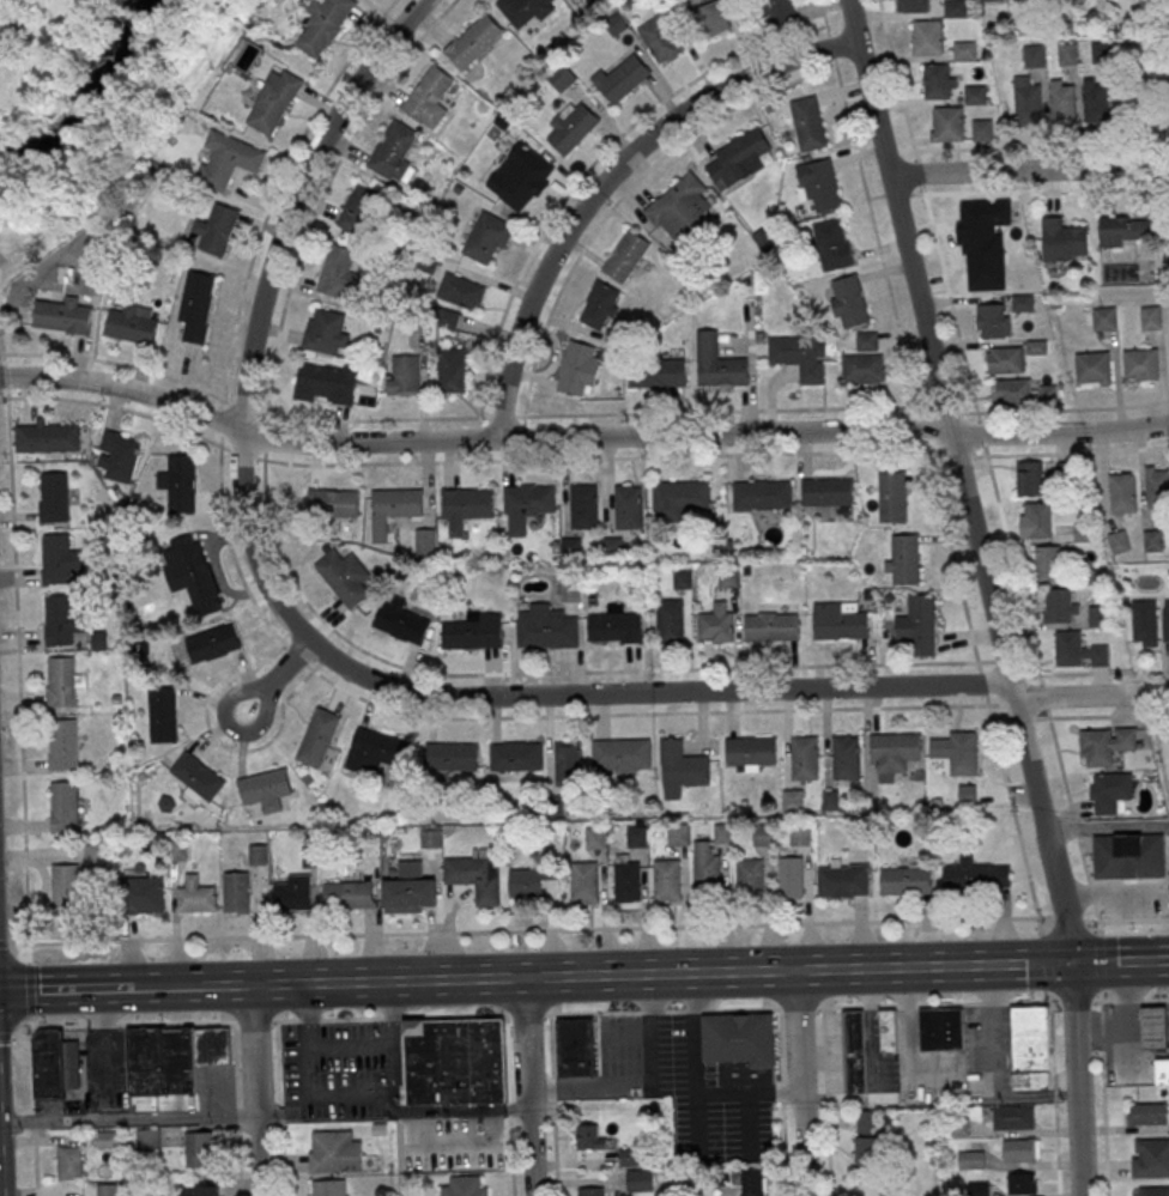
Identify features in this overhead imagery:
building: (913, 6)
building: (956, 7)
building: (525, 10)
building: (779, 11)
building: (713, 18)
building: (322, 23)
building: (928, 36)
building: (472, 40)
building: (659, 40)
building: (964, 50)
building: (1068, 53)
building: (1100, 53)
building: (1034, 55)
building: (561, 78)
building: (620, 80)
building: (939, 80)
river: (80, 89)
building: (426, 93)
building: (975, 93)
building: (274, 98)
park: (69, 99)
building: (1028, 103)
building: (1064, 103)
building: (1096, 103)
building: (1147, 109)
building: (807, 123)
building: (947, 123)
building: (571, 127)
building: (982, 129)
road: (1041, 145)
building: (392, 150)
building: (228, 157)
building: (738, 159)
road: (1028, 170)
road: (607, 177)
building: (526, 180)
building: (819, 180)
road: (577, 182)
road: (1047, 189)
road: (625, 193)
road: (295, 199)
building: (679, 206)
road: (269, 208)
building: (359, 210)
building: (985, 221)
building: (218, 227)
building: (1126, 229)
building: (486, 236)
building: (1062, 239)
building: (832, 243)
building: (625, 256)
building: (338, 272)
building: (460, 291)
building: (847, 302)
building: (1023, 302)
building: (196, 306)
building: (599, 306)
building: (62, 316)
building: (1104, 317)
building: (1150, 317)
building: (449, 318)
building: (993, 320)
building: (132, 323)
building: (326, 332)
road: (1, 345)
building: (799, 354)
building: (1004, 358)
building: (717, 363)
building: (1140, 364)
building: (1094, 368)
building: (577, 369)
building: (862, 369)
building: (450, 370)
building: (656, 372)
building: (401, 375)
building: (327, 383)
building: (1013, 389)
road: (581, 415)
road: (580, 437)
building: (48, 438)
road: (927, 450)
building: (116, 456)
road: (583, 460)
road: (988, 461)
building: (1030, 478)
road: (961, 481)
building: (181, 482)
building: (1157, 486)
building: (828, 490)
building: (1122, 492)
building: (761, 493)
building: (680, 494)
building: (54, 497)
building: (891, 497)
building: (529, 498)
building: (396, 502)
building: (467, 502)
building: (333, 503)
building: (582, 506)
building: (628, 506)
building: (1038, 520)
building: (1152, 540)
building: (1119, 541)
building: (425, 542)
building: (57, 559)
building: (904, 560)
building: (1048, 561)
building: (189, 573)
building: (344, 577)
building: (682, 578)
building: (570, 589)
building: (1061, 605)
building: (1098, 615)
building: (840, 619)
building: (59, 620)
building: (670, 621)
building: (1145, 623)
building: (1165, 624)
building: (400, 625)
building: (716, 625)
building: (771, 625)
building: (917, 625)
road: (323, 626)
building: (545, 626)
building: (617, 626)
building: (473, 631)
building: (206, 643)
road: (17, 649)
building: (1078, 650)
road: (1103, 672)
road: (1023, 673)
road: (278, 675)
building: (62, 682)
road: (617, 693)
road: (1000, 705)
building: (162, 715)
road: (1092, 715)
road: (519, 721)
building: (316, 737)
road: (218, 741)
building: (62, 745)
building: (1106, 745)
building: (749, 751)
building: (374, 752)
building: (619, 753)
building: (892, 754)
building: (963, 754)
building: (449, 758)
building: (514, 758)
building: (802, 758)
building: (844, 758)
building: (565, 763)
building: (679, 769)
building: (196, 775)
building: (264, 788)
building: (1109, 791)
building: (793, 801)
building: (65, 806)
road: (1107, 826)
building: (800, 834)
building: (636, 836)
building: (678, 836)
building: (430, 839)
building: (178, 850)
building: (258, 855)
building: (1128, 855)
building: (705, 866)
building: (477, 875)
building: (750, 875)
building: (976, 876)
building: (791, 878)
building: (628, 880)
building: (666, 880)
building: (843, 880)
building: (73, 881)
building: (904, 881)
building: (523, 884)
building: (587, 885)
building: (410, 888)
building: (235, 892)
building: (293, 893)
building: (144, 896)
building: (349, 896)
building: (196, 897)
road: (588, 929)
road: (1120, 963)
traffic signals: (1072, 964)
road: (1005, 965)
road: (574, 975)
road: (172, 986)
road: (66, 989)
road: (583, 1014)
building: (1040, 1021)
building: (1153, 1024)
gas station: (1153, 1024)
building: (941, 1028)
building: (888, 1030)
building: (576, 1046)
building: (741, 1048)
road: (349, 1049)
building: (853, 1050)
building: (172, 1058)
road: (1052, 1058)
road: (1102, 1058)
building: (454, 1061)
building: (55, 1064)
building: (1162, 1070)
road: (1076, 1080)
road: (644, 1081)
road: (800, 1082)
road: (529, 1086)
road: (692, 1086)
road: (258, 1089)
road: (325, 1097)
building: (1147, 1113)
building: (1013, 1116)
road: (129, 1119)
building: (589, 1136)
building: (866, 1139)
building: (107, 1140)
building: (147, 1140)
building: (201, 1149)
building: (1020, 1149)
building: (334, 1151)
building: (473, 1151)
building: (629, 1156)
building: (1150, 1156)
building: (971, 1158)
building: (71, 1161)
building: (640, 1178)
building: (752, 1182)
building: (1020, 1182)
building: (464, 1185)
building: (328, 1186)
building: (977, 1189)
building: (105, 1190)
building: (1151, 1190)
building: (208, 1191)
building: (592, 1191)

